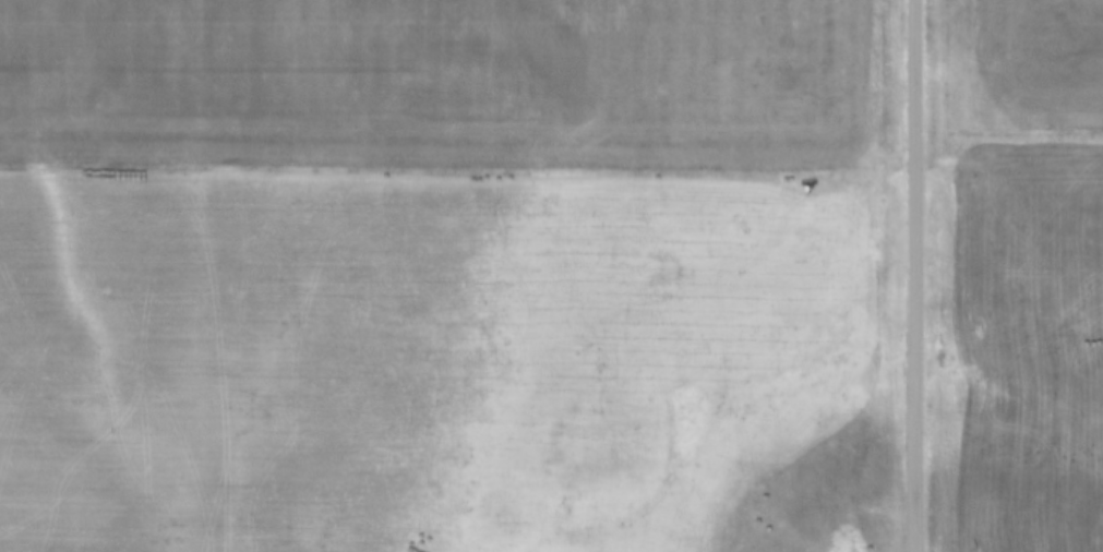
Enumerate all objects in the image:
road: (914, 276)

